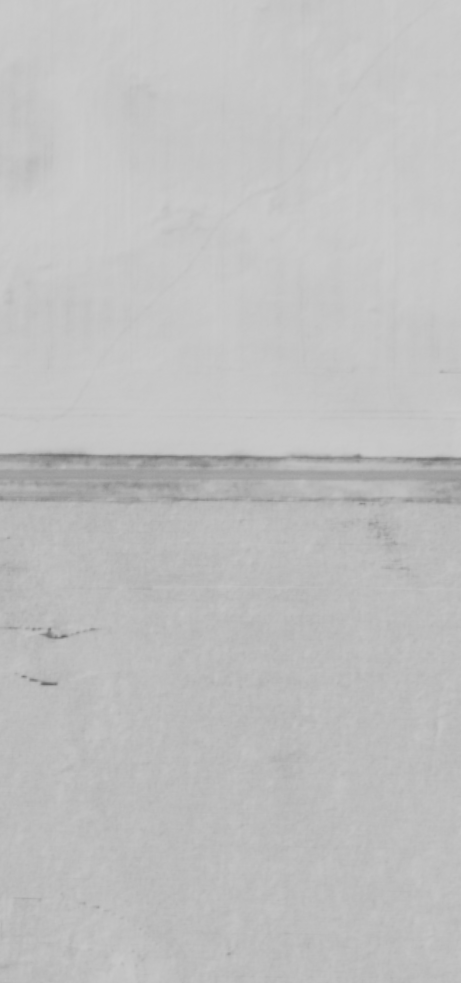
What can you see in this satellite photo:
road: (230, 470)

